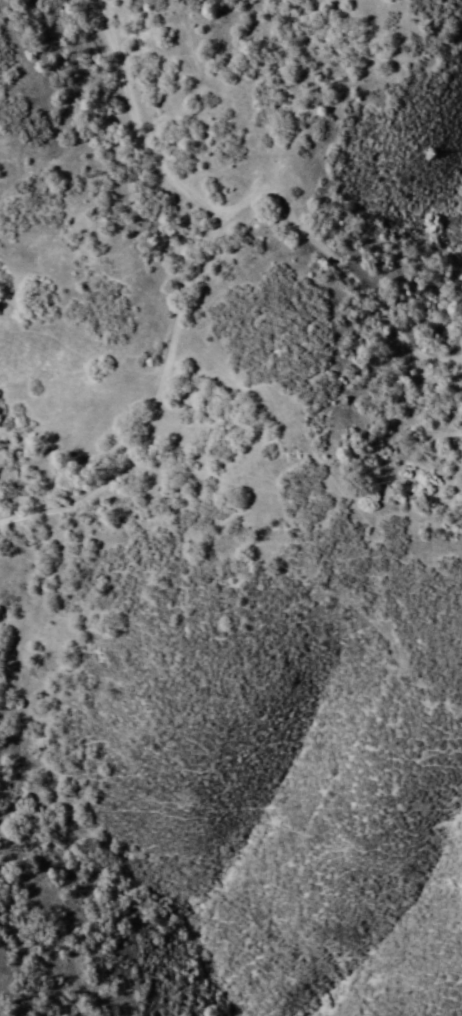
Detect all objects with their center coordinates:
road: (338, 264)
road: (187, 285)

